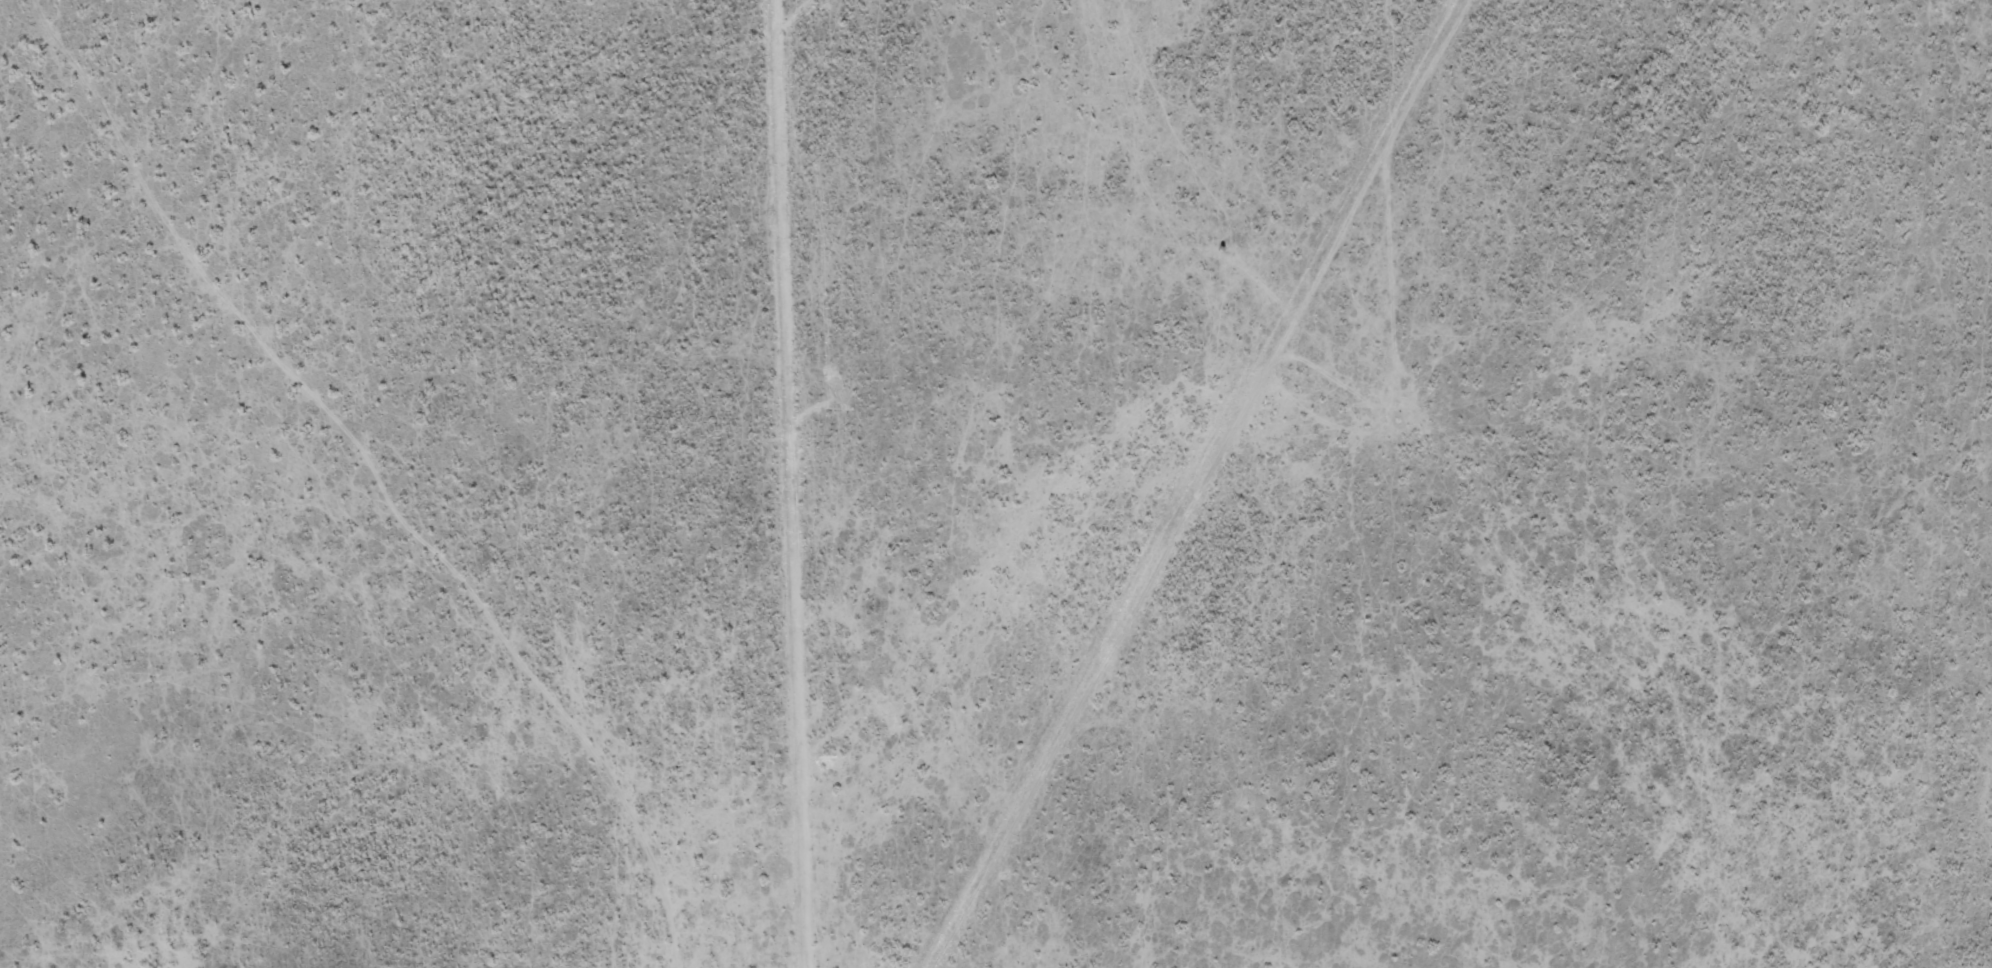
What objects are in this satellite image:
road: (356, 487)

